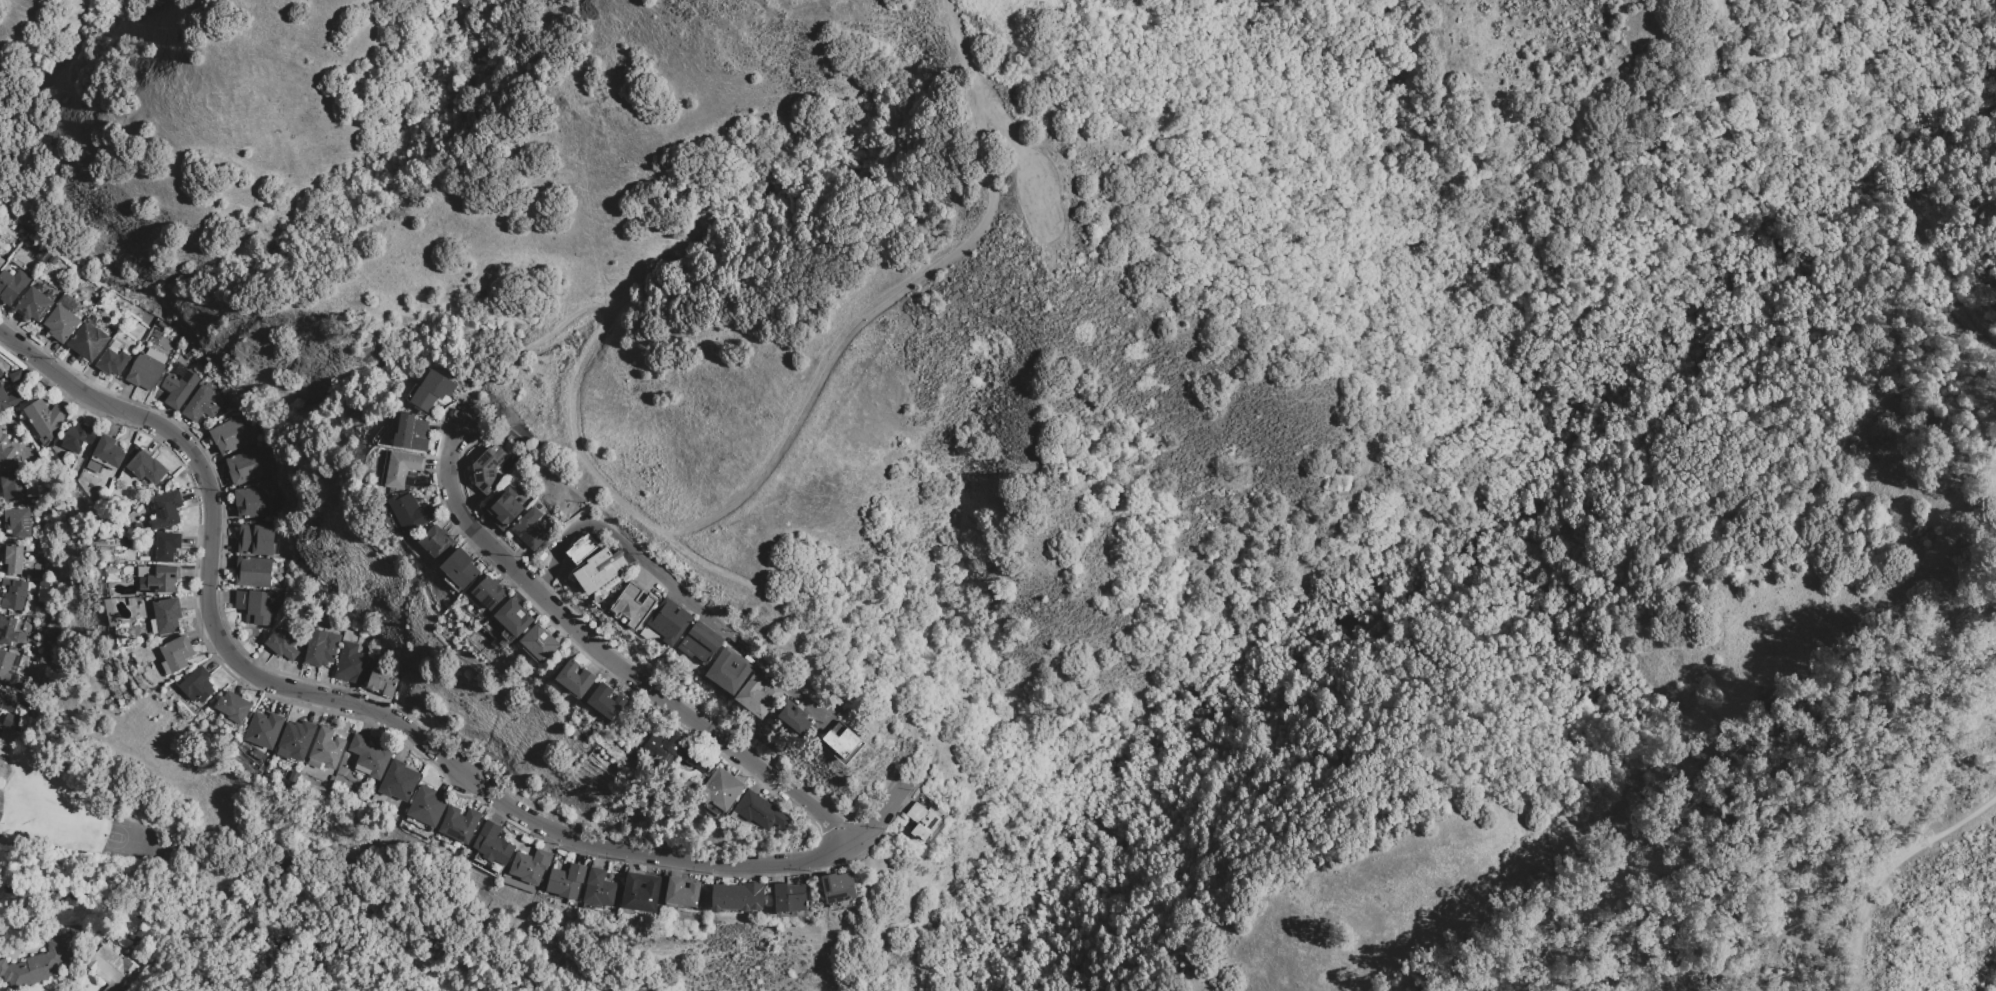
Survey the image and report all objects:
park: (1892, 176)
building: (1, 261)
building: (12, 285)
building: (68, 303)
building: (33, 305)
building: (61, 324)
building: (88, 342)
building: (156, 356)
building: (187, 356)
building: (112, 362)
building: (144, 372)
building: (0, 373)
building: (0, 375)
building: (15, 376)
building: (178, 386)
building: (431, 391)
building: (9, 399)
building: (200, 405)
building: (45, 418)
building: (408, 433)
building: (232, 435)
building: (78, 437)
building: (501, 442)
building: (108, 452)
building: (7, 454)
building: (95, 466)
building: (146, 467)
building: (244, 467)
building: (401, 468)
building: (487, 469)
road: (762, 477)
building: (12, 487)
building: (31, 491)
building: (252, 503)
building: (504, 508)
building: (166, 510)
building: (411, 512)
building: (18, 523)
road: (212, 523)
building: (530, 529)
building: (255, 540)
building: (436, 542)
building: (166, 547)
building: (582, 549)
building: (12, 559)
building: (459, 569)
building: (600, 570)
building: (146, 571)
building: (254, 572)
road: (660, 578)
building: (160, 580)
building: (32, 587)
building: (44, 589)
building: (489, 592)
building: (13, 594)
building: (632, 605)
building: (254, 606)
building: (167, 615)
building: (512, 619)
building: (669, 621)
building: (154, 626)
building: (7, 630)
building: (21, 638)
building: (699, 642)
building: (539, 643)
building: (282, 644)
building: (320, 648)
building: (177, 653)
road: (612, 661)
building: (351, 664)
building: (5, 665)
building: (166, 668)
building: (728, 670)
building: (13, 671)
building: (575, 679)
building: (382, 682)
building: (198, 685)
building: (758, 695)
building: (612, 696)
building: (6, 702)
building: (605, 702)
building: (233, 706)
building: (792, 716)
building: (10, 721)
building: (1, 730)
building: (264, 730)
building: (841, 740)
building: (296, 741)
building: (327, 748)
building: (672, 753)
building: (369, 756)
building: (314, 763)
building: (362, 771)
building: (294, 777)
building: (399, 781)
park: (69, 782)
building: (720, 789)
building: (427, 806)
building: (712, 810)
building: (759, 811)
building: (922, 821)
building: (459, 824)
building: (493, 844)
road: (643, 854)
building: (530, 866)
road: (1889, 869)
building: (566, 881)
building: (600, 889)
building: (838, 890)
building: (639, 892)
building: (681, 892)
building: (737, 897)
building: (789, 897)
building: (38, 964)
building: (112, 969)

